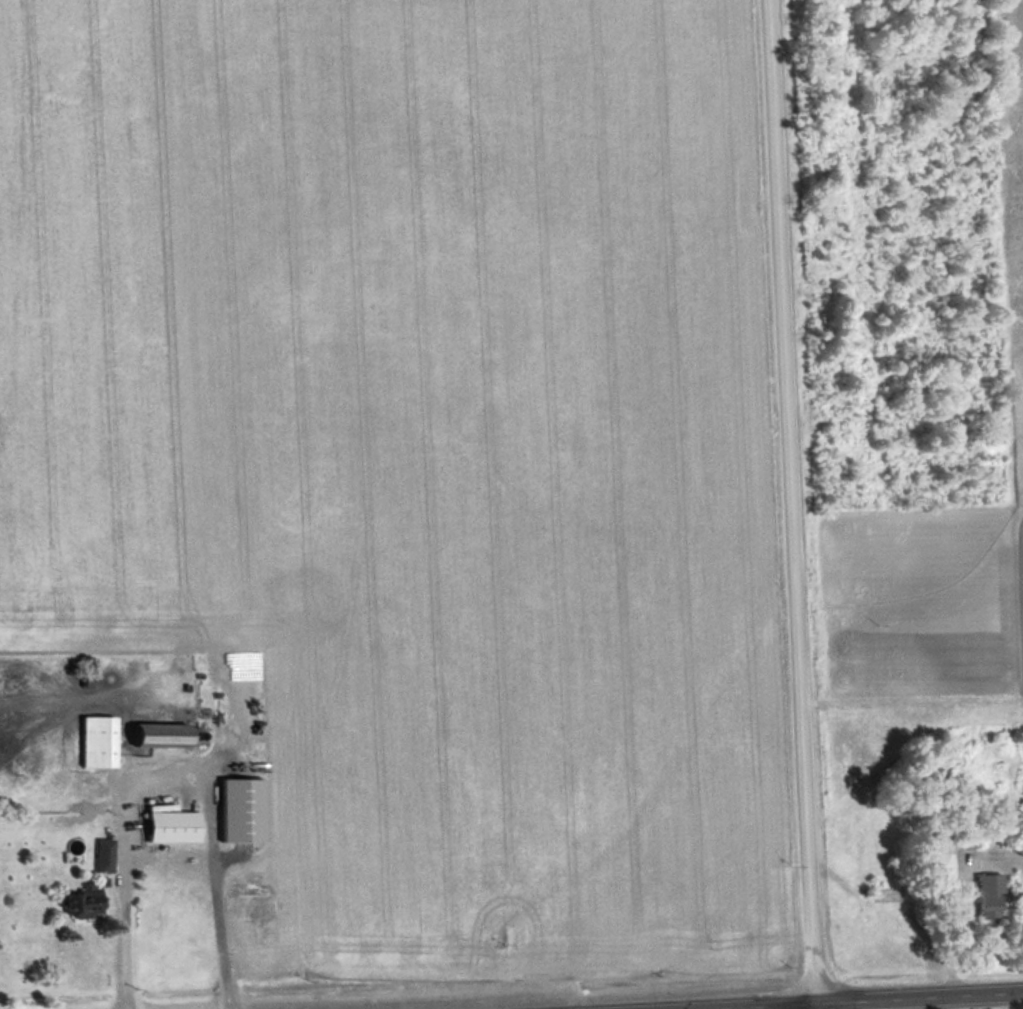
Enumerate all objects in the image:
road: (785, 504)
building: (162, 737)
building: (97, 740)
building: (220, 793)
building: (173, 825)
building: (950, 850)
building: (104, 854)
building: (991, 895)
building: (88, 905)
road: (845, 999)

